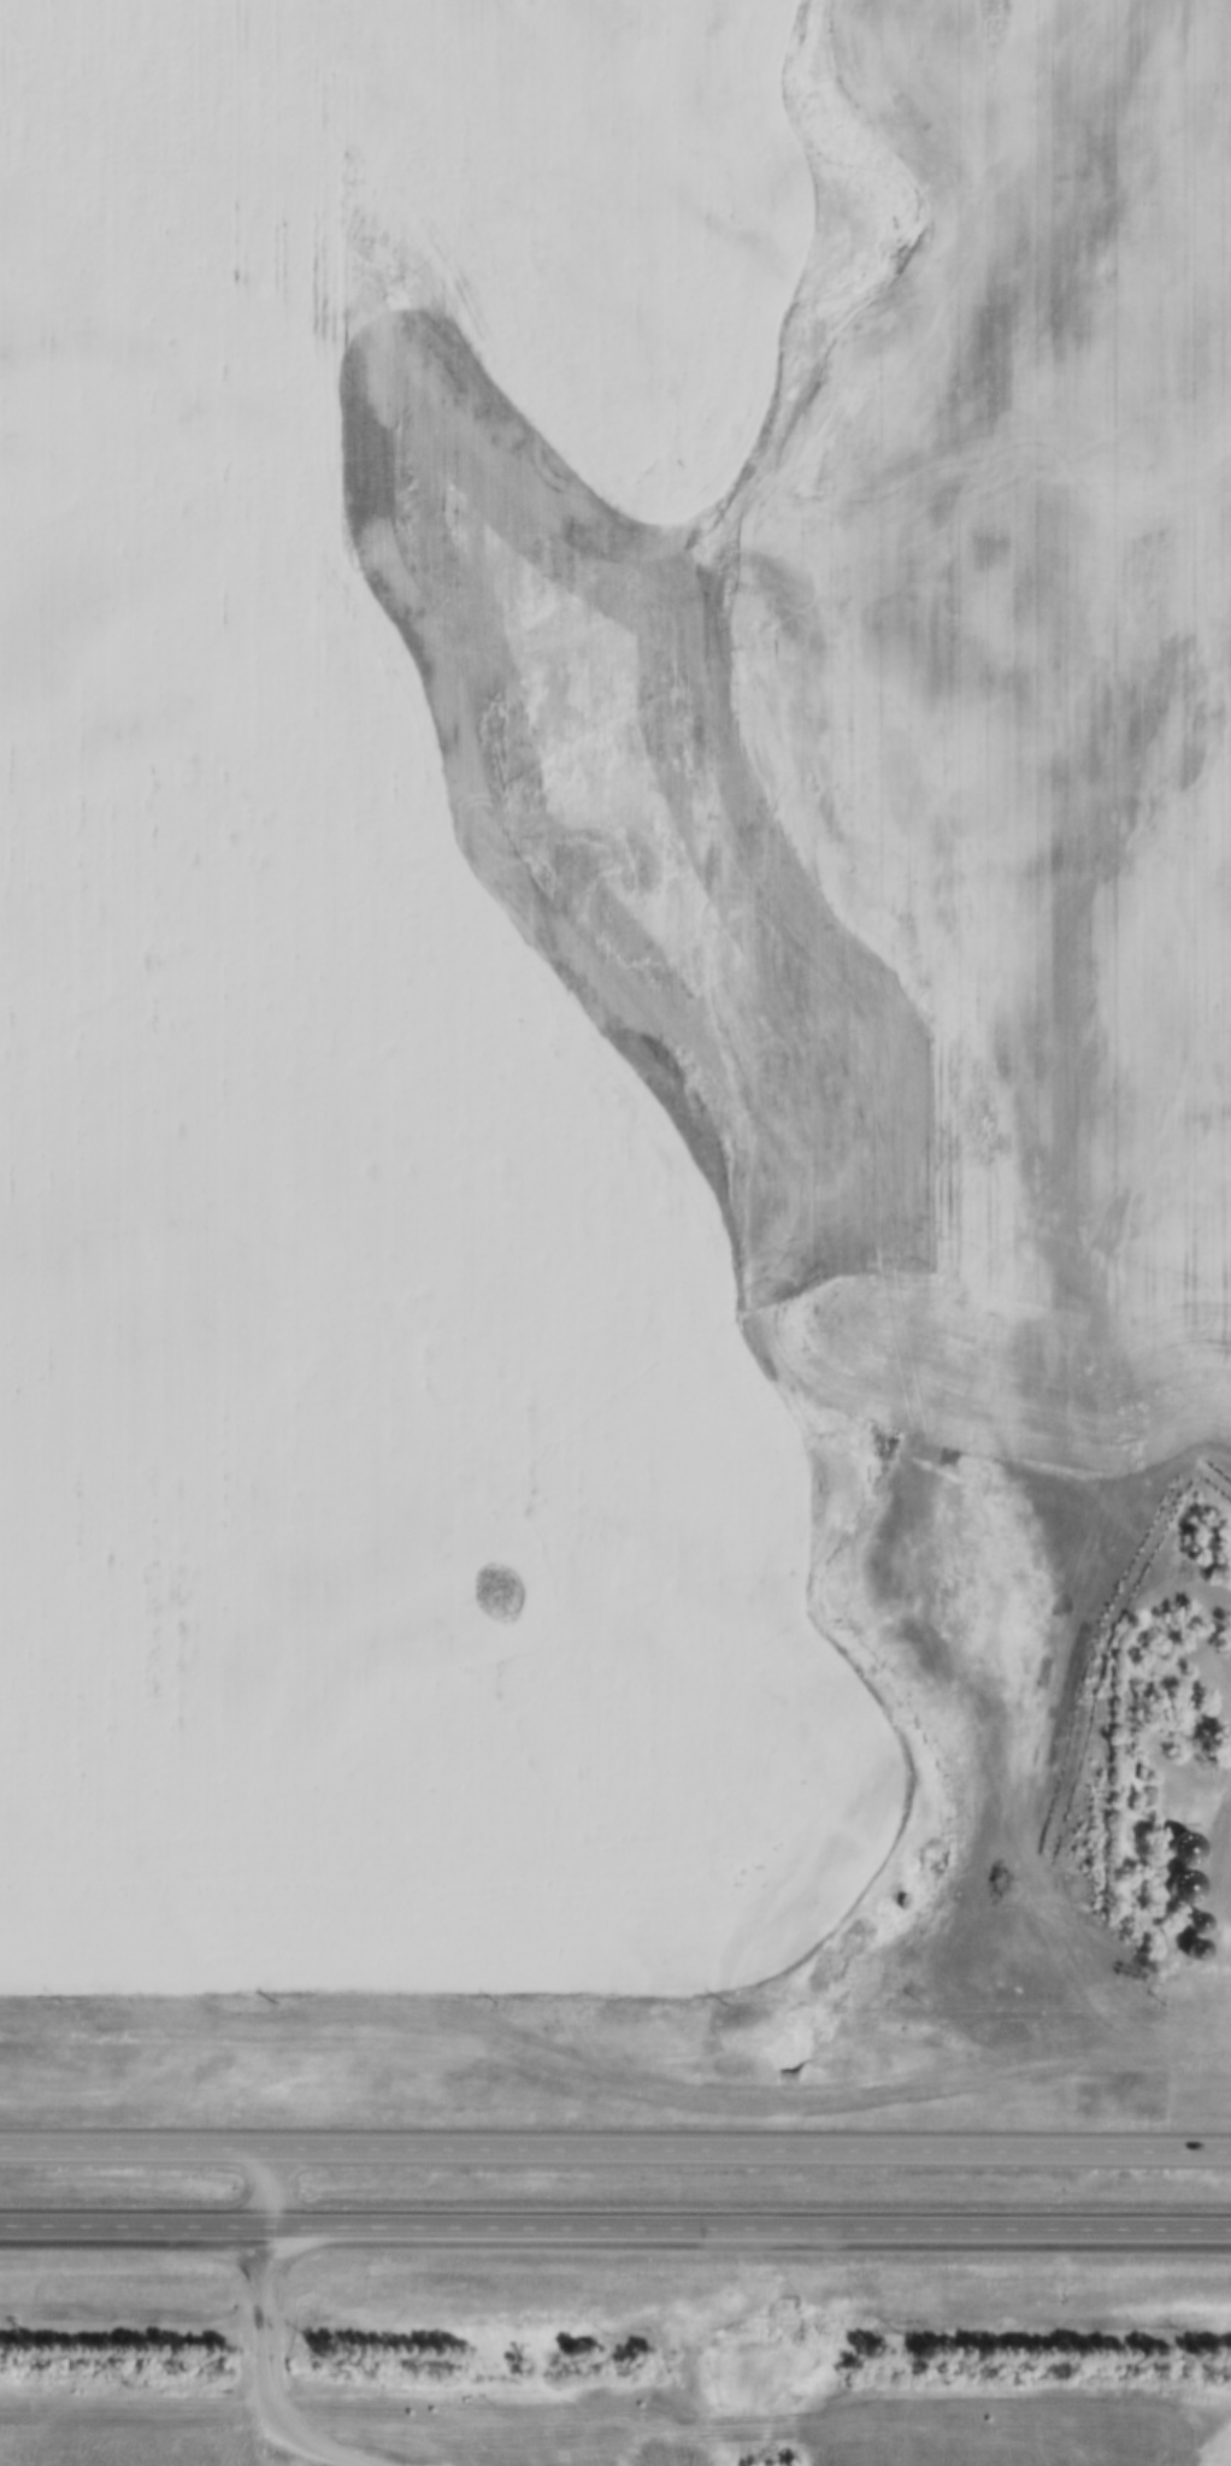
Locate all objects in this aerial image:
road: (614, 2150)
road: (614, 2226)

